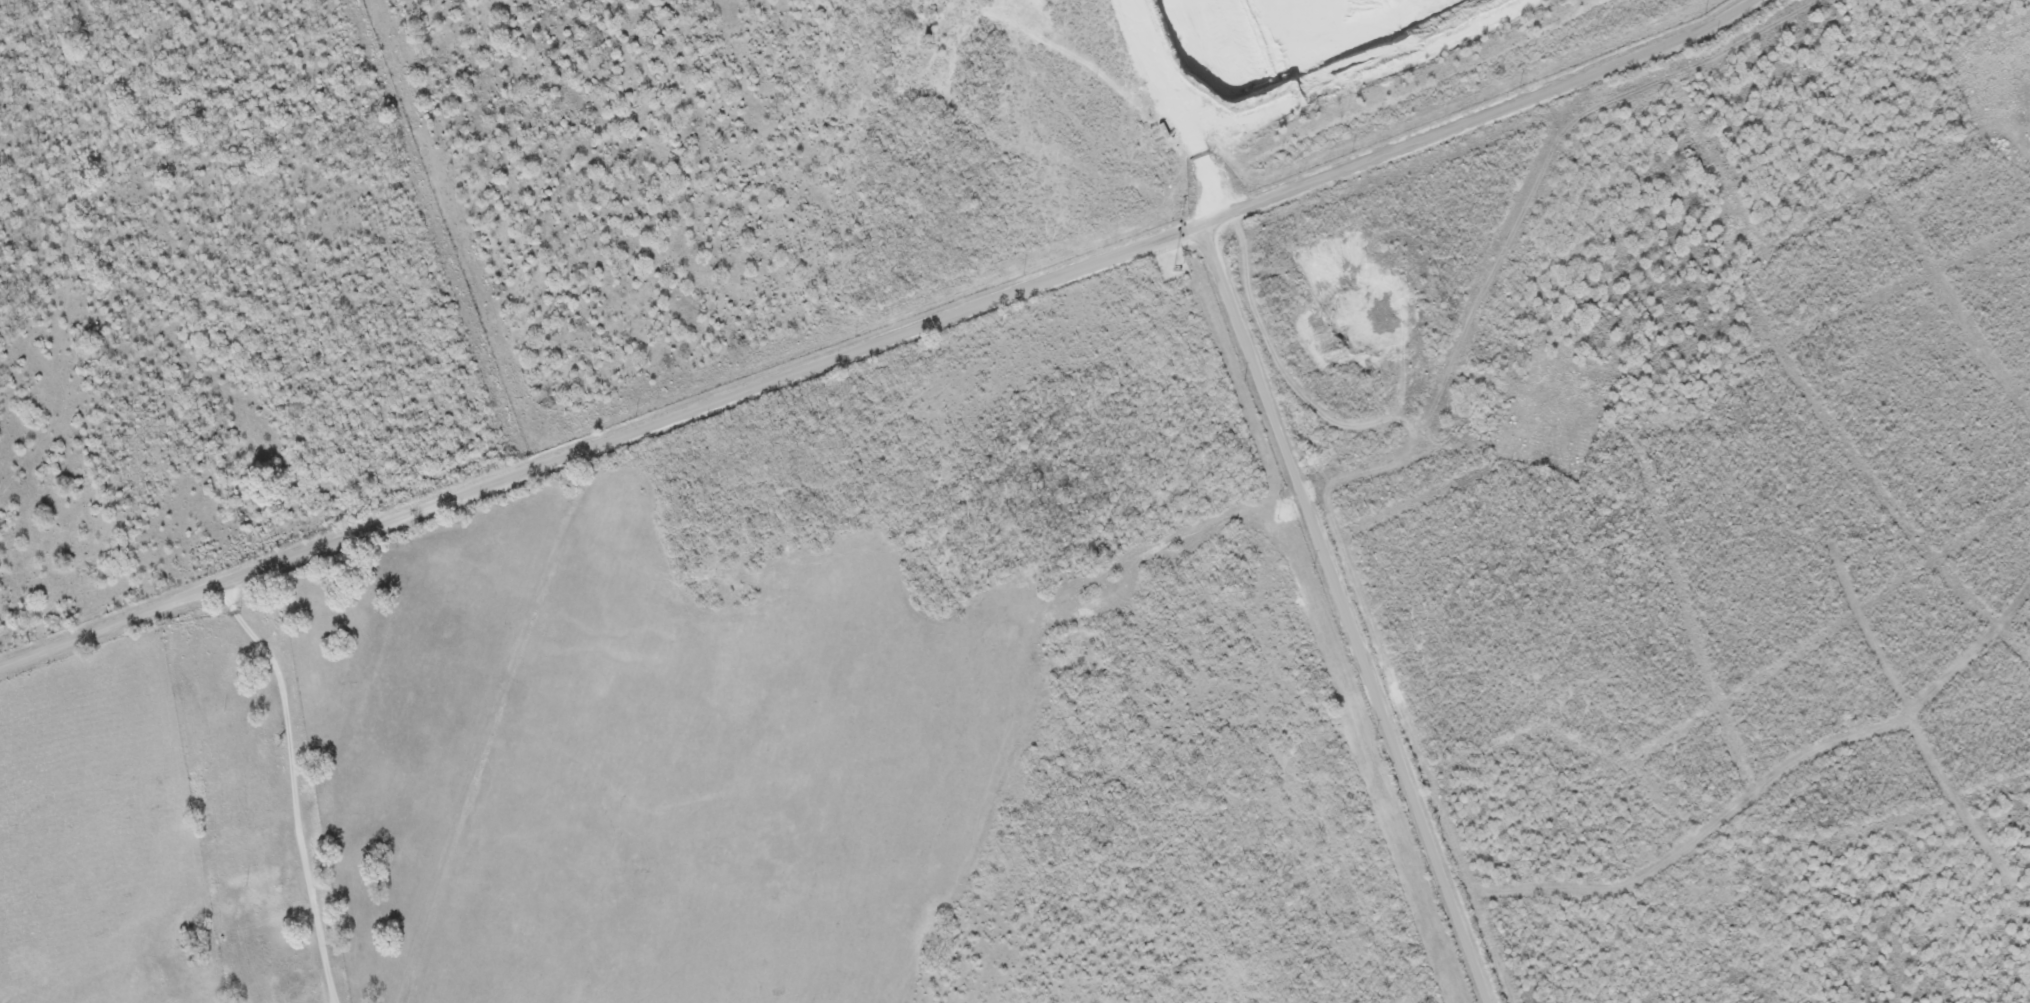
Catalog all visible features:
road: (885, 345)
road: (1346, 616)

